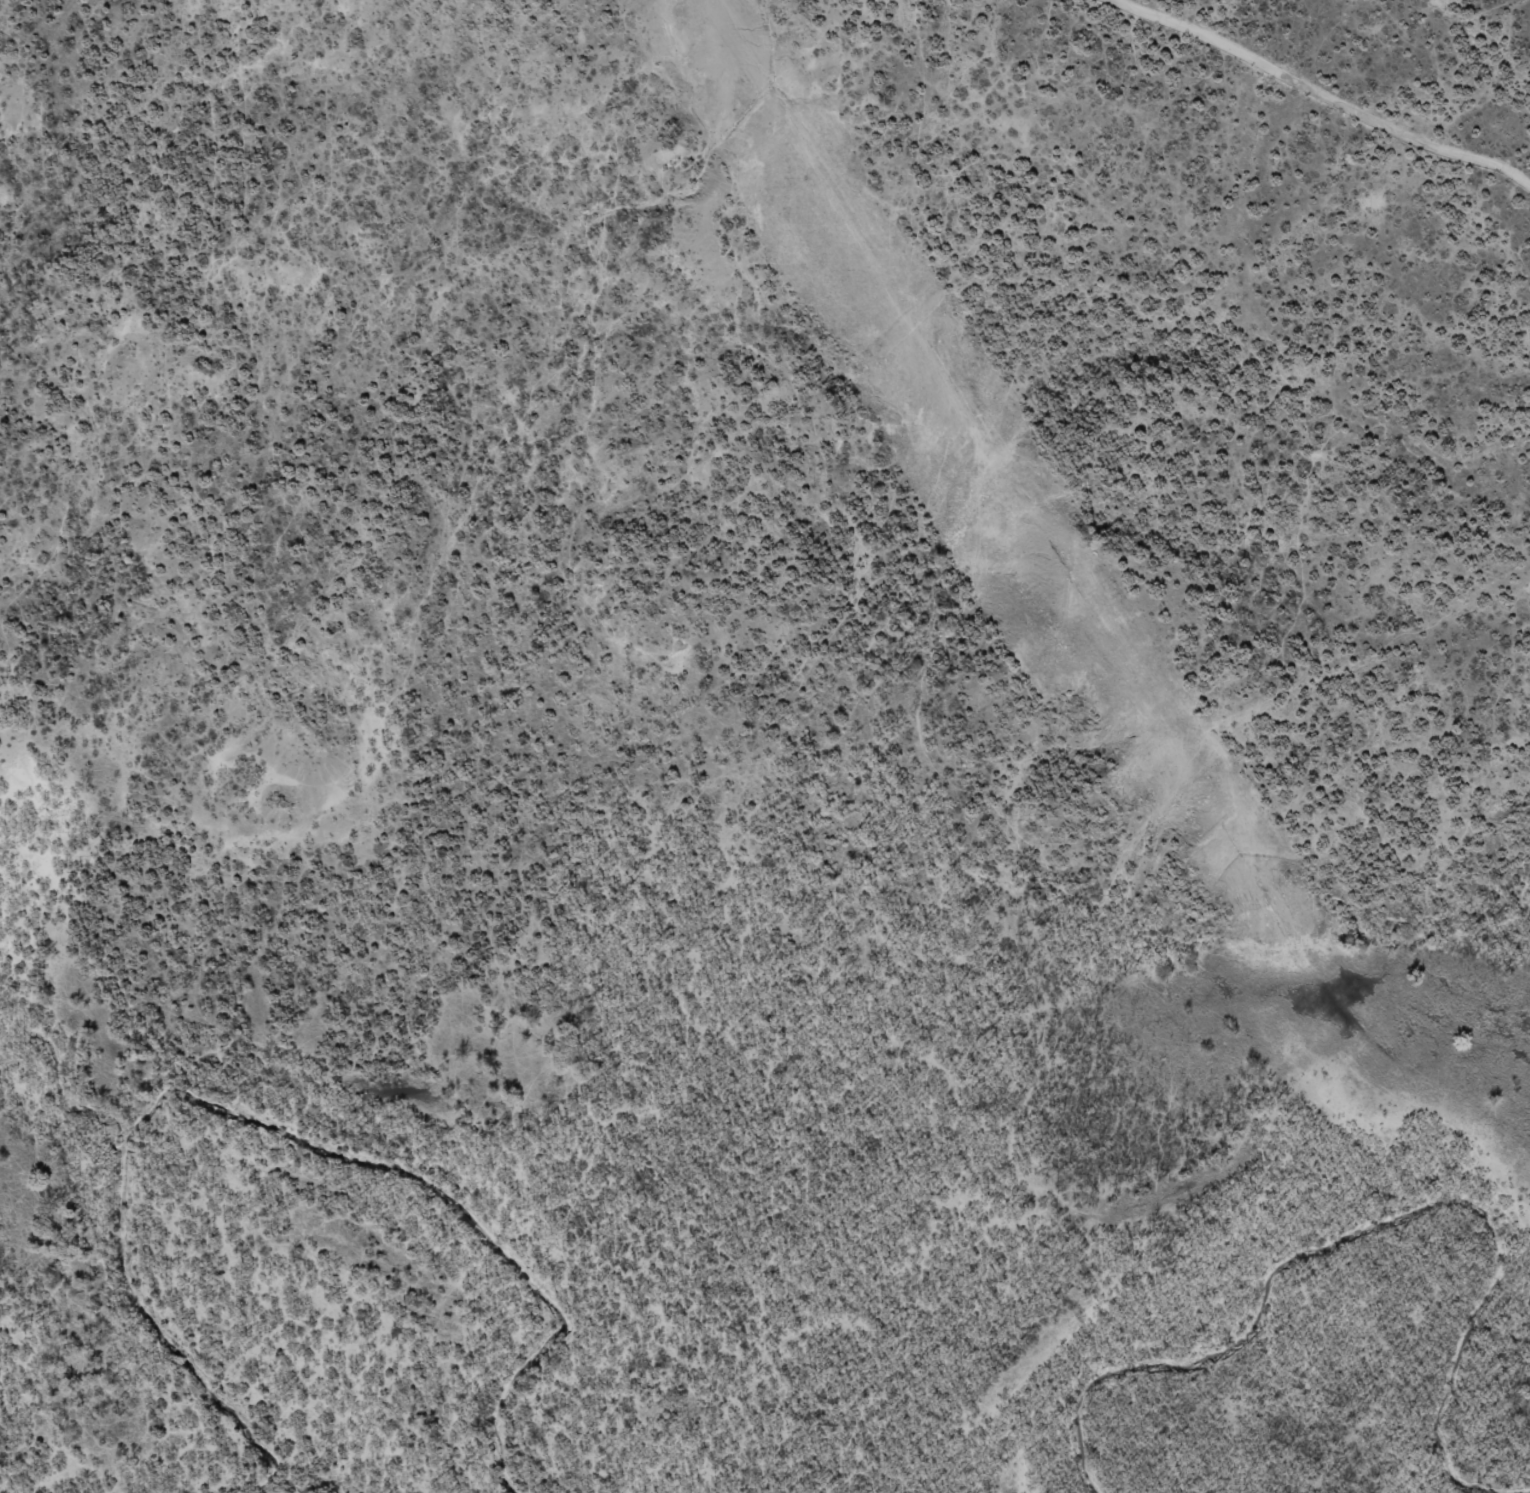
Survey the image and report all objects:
road: (1329, 79)
road: (1066, 940)

